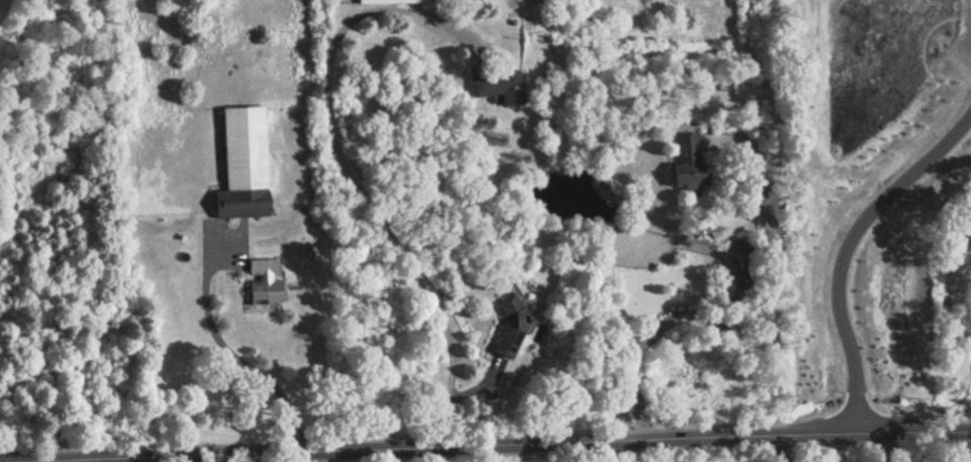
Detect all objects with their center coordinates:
building: (387, 1)
building: (493, 87)
building: (685, 162)
building: (239, 164)
road: (348, 176)
road: (847, 249)
building: (260, 280)
building: (506, 326)
road: (748, 339)
road: (240, 361)
road: (497, 446)
road: (943, 447)
road: (886, 448)

